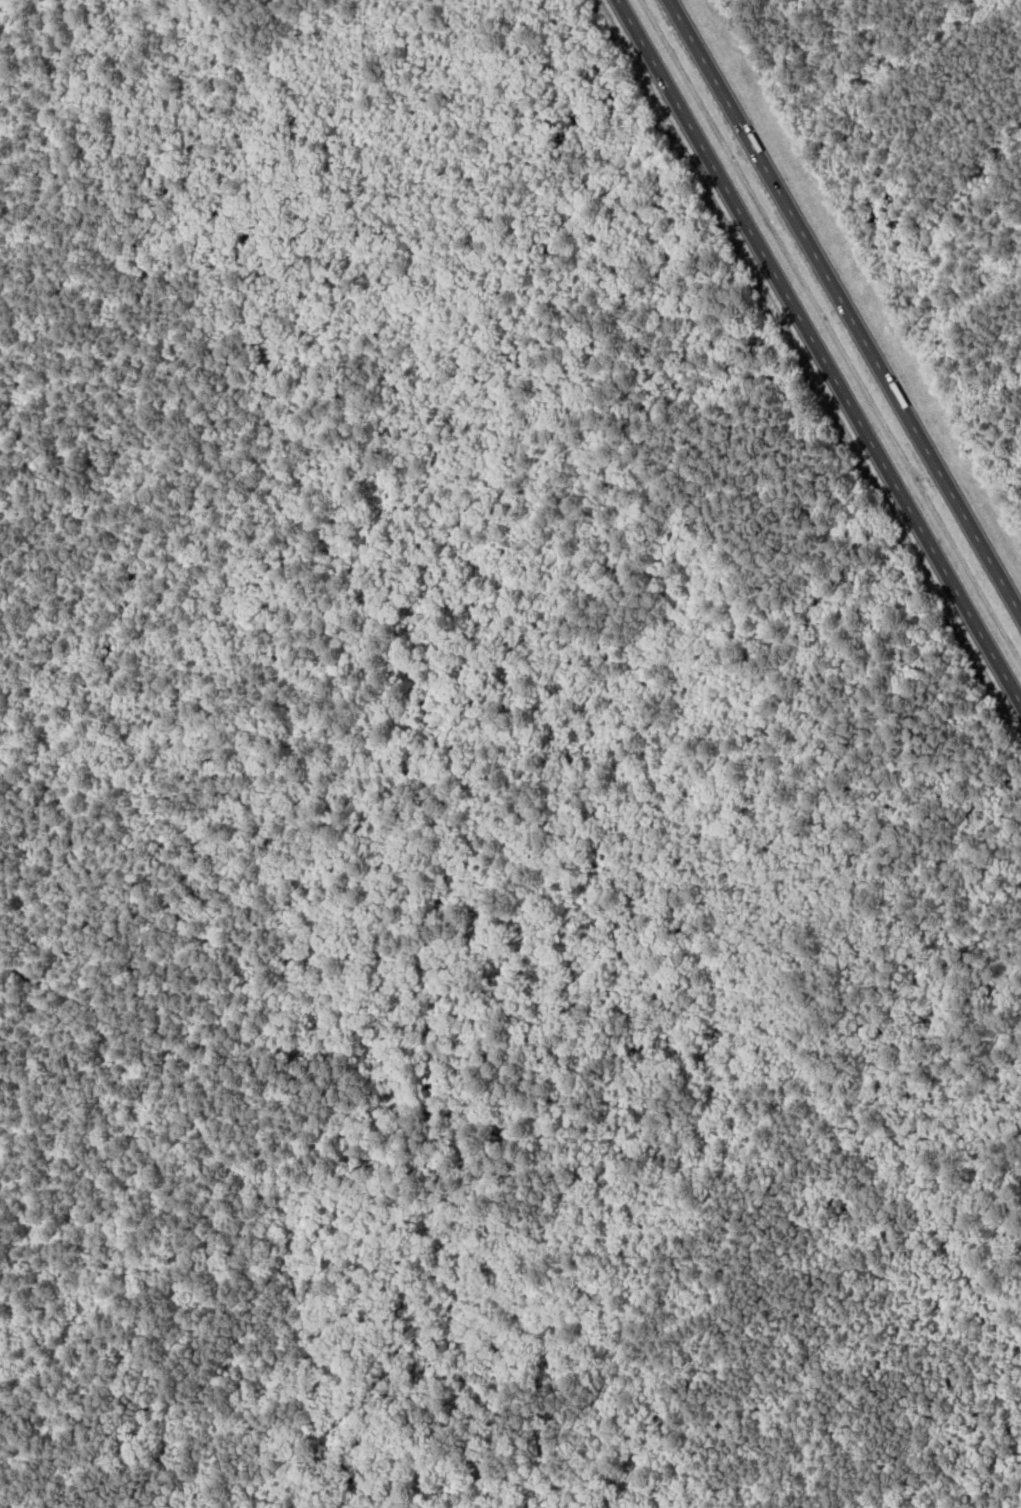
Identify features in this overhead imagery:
road: (844, 309)
road: (819, 353)

